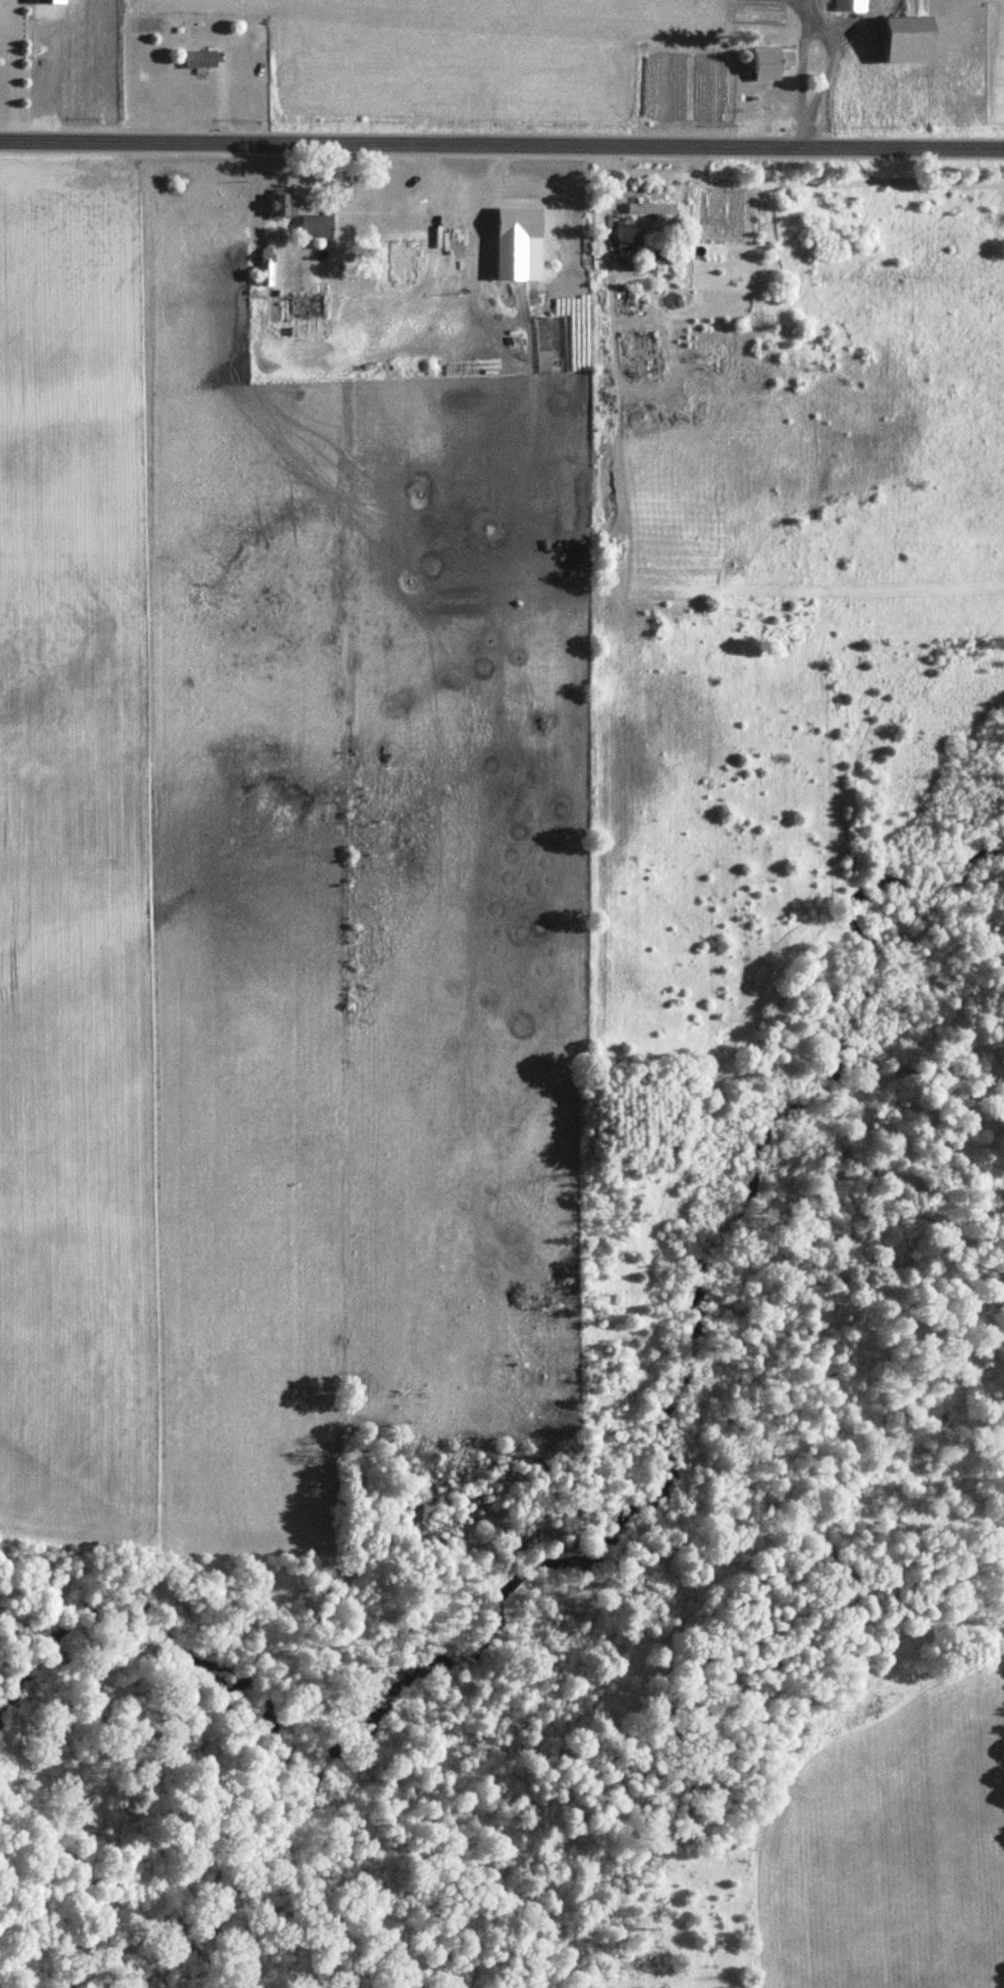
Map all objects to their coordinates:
building: (196, 59)
building: (772, 63)
road: (502, 145)
building: (279, 205)
building: (647, 208)
building: (312, 226)
building: (621, 236)
building: (262, 268)
building: (300, 305)

